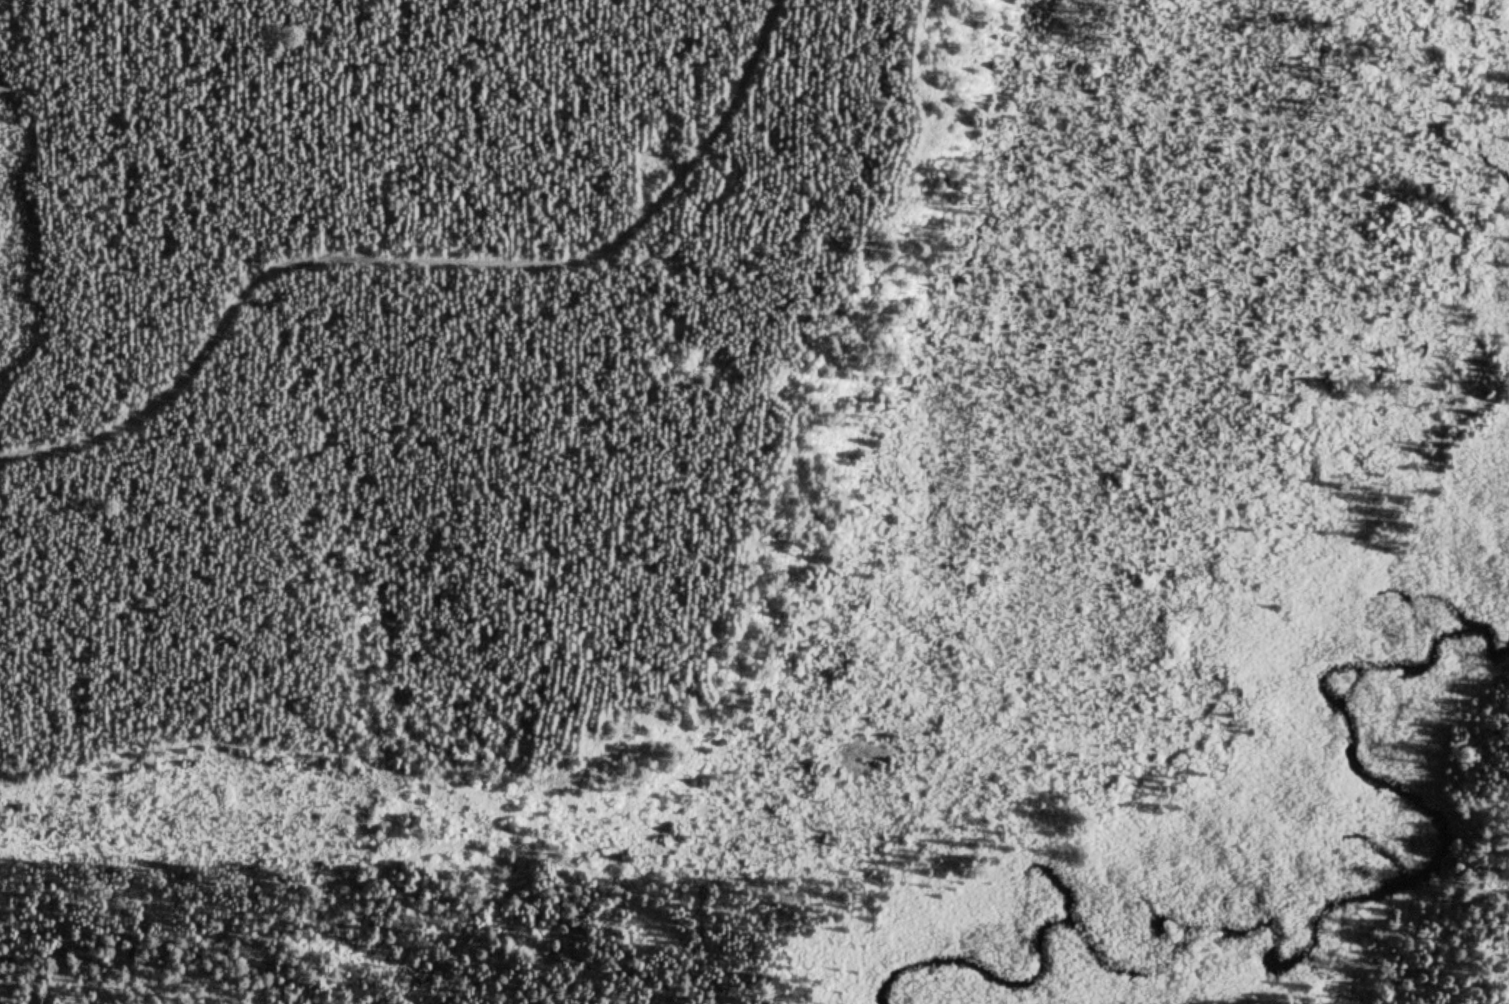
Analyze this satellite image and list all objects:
river: (1373, 789)
river: (1069, 975)

